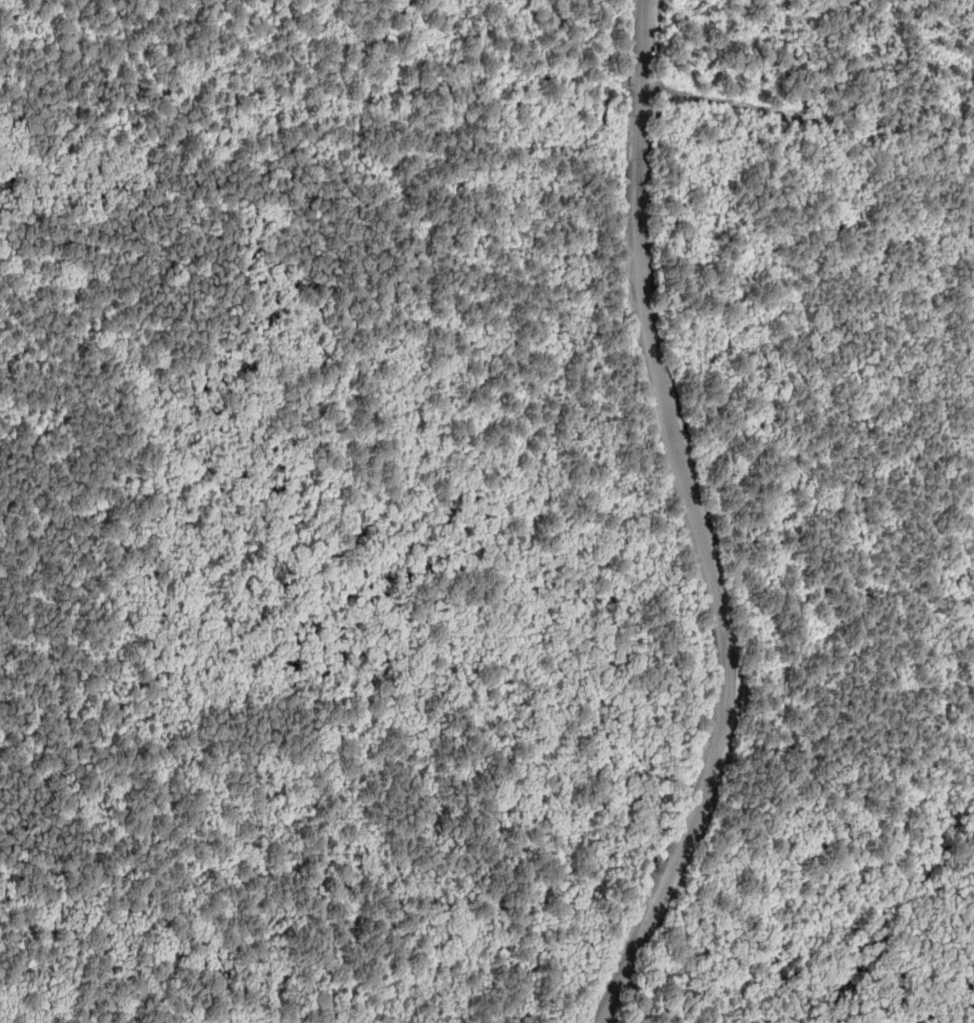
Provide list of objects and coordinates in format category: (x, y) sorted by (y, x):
road: (644, 44)
road: (427, 70)
road: (630, 86)
road: (637, 88)
road: (650, 91)
road: (665, 93)
road: (822, 117)
park: (407, 517)
road: (709, 565)

